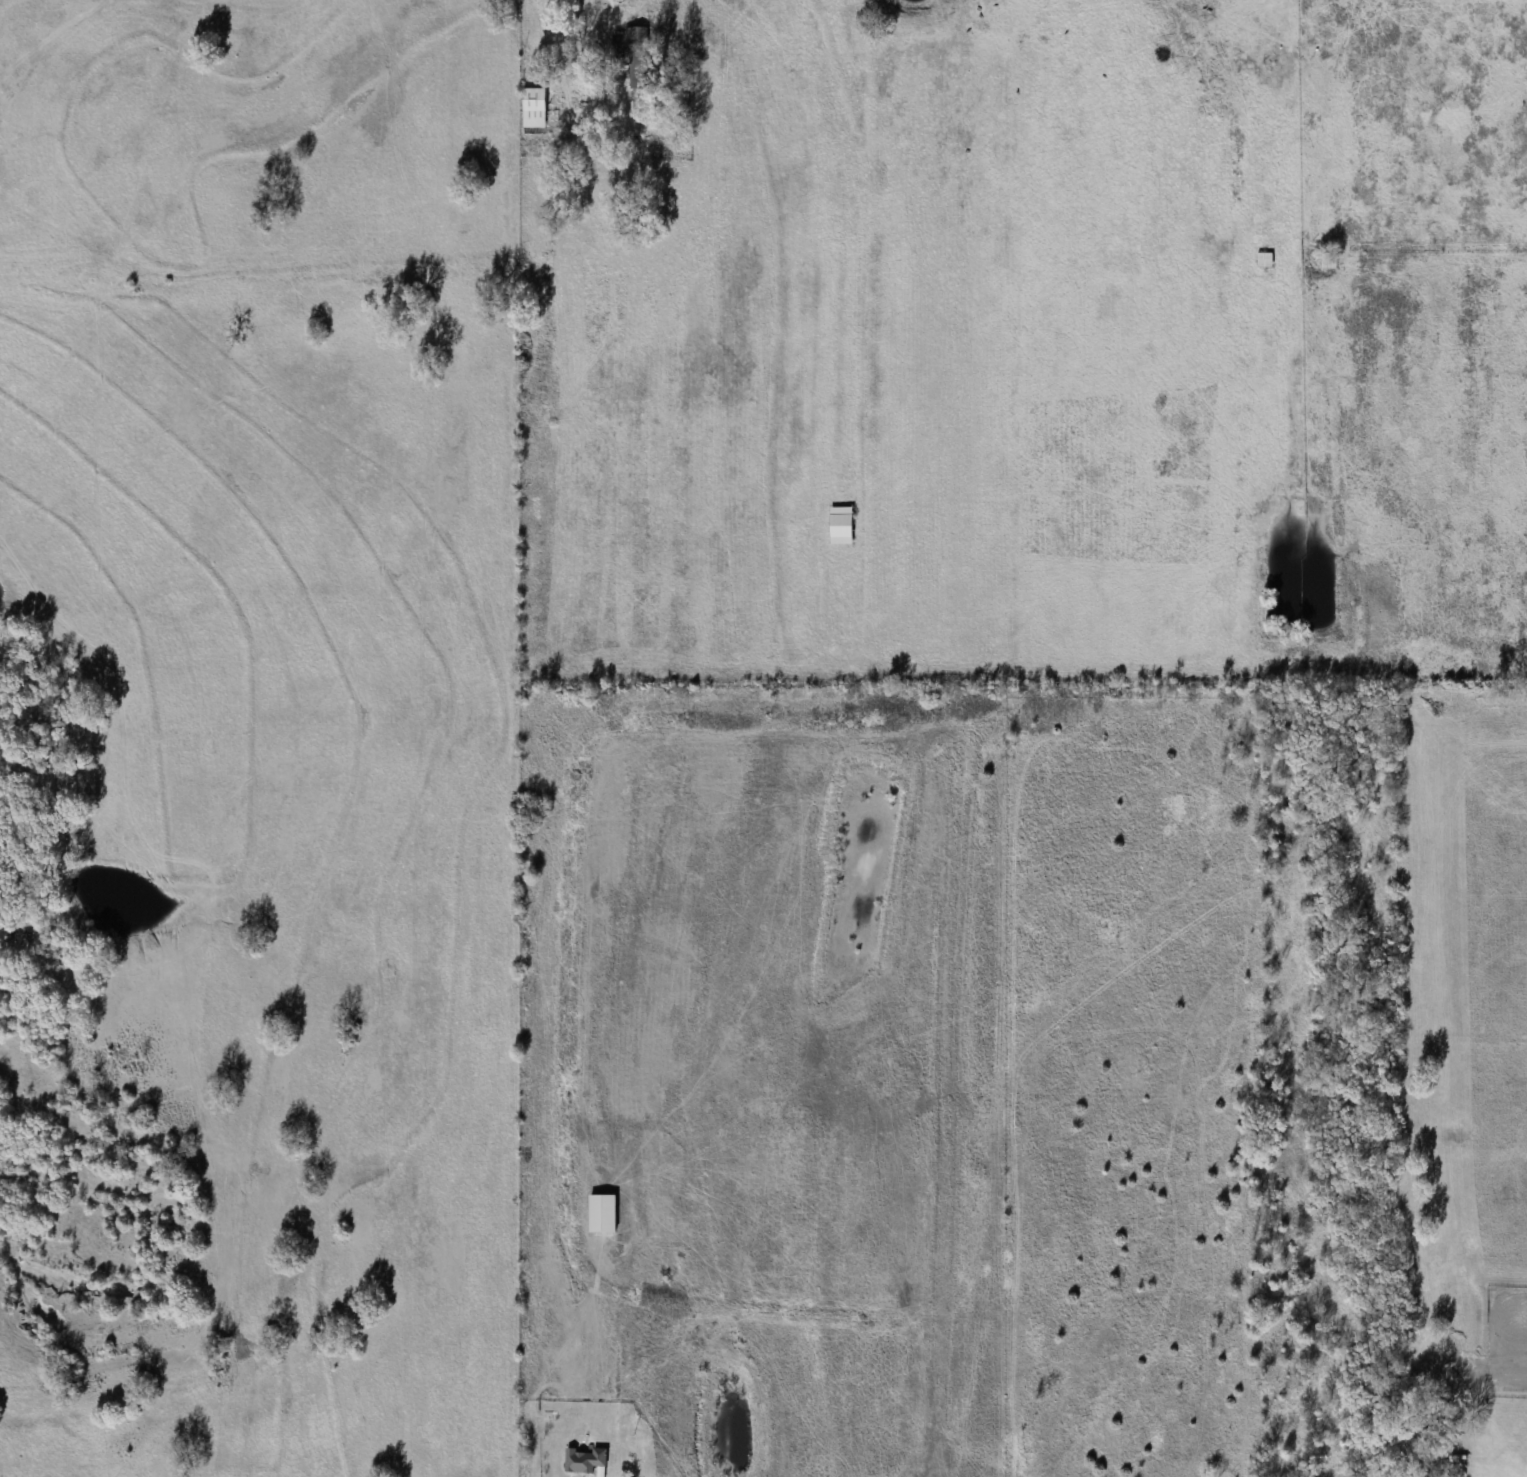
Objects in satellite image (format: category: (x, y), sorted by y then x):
road: (547, 22)
building: (633, 50)
building: (534, 107)
building: (1264, 260)
building: (1328, 260)
building: (841, 525)
building: (585, 1460)

